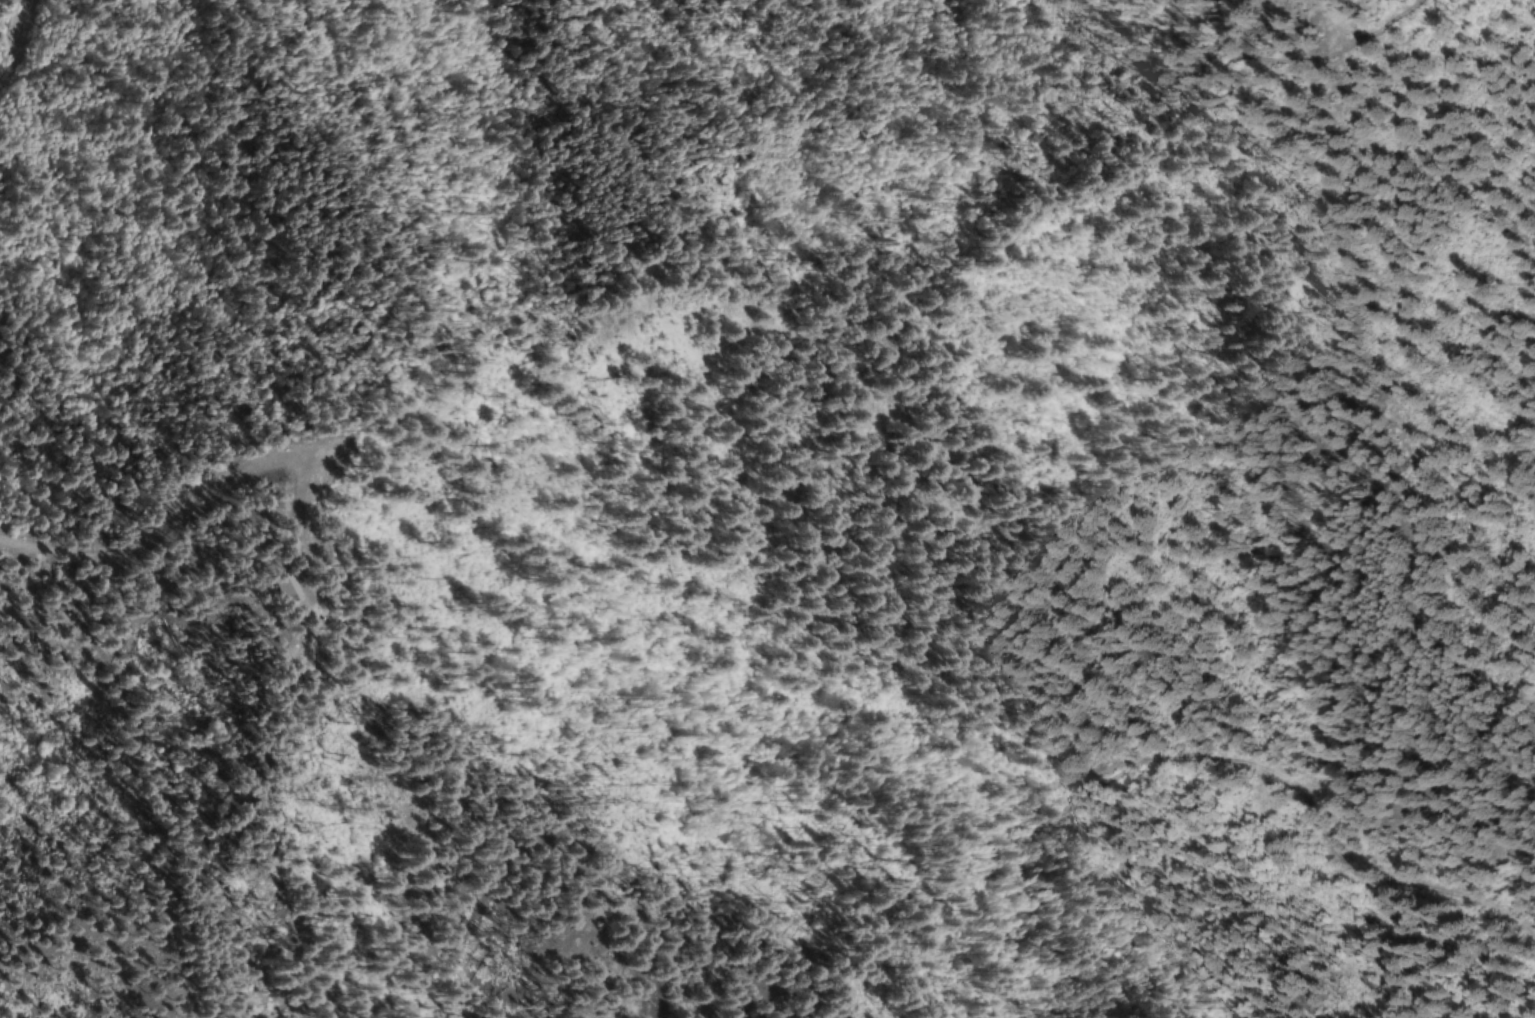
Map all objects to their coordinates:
road: (11, 32)

